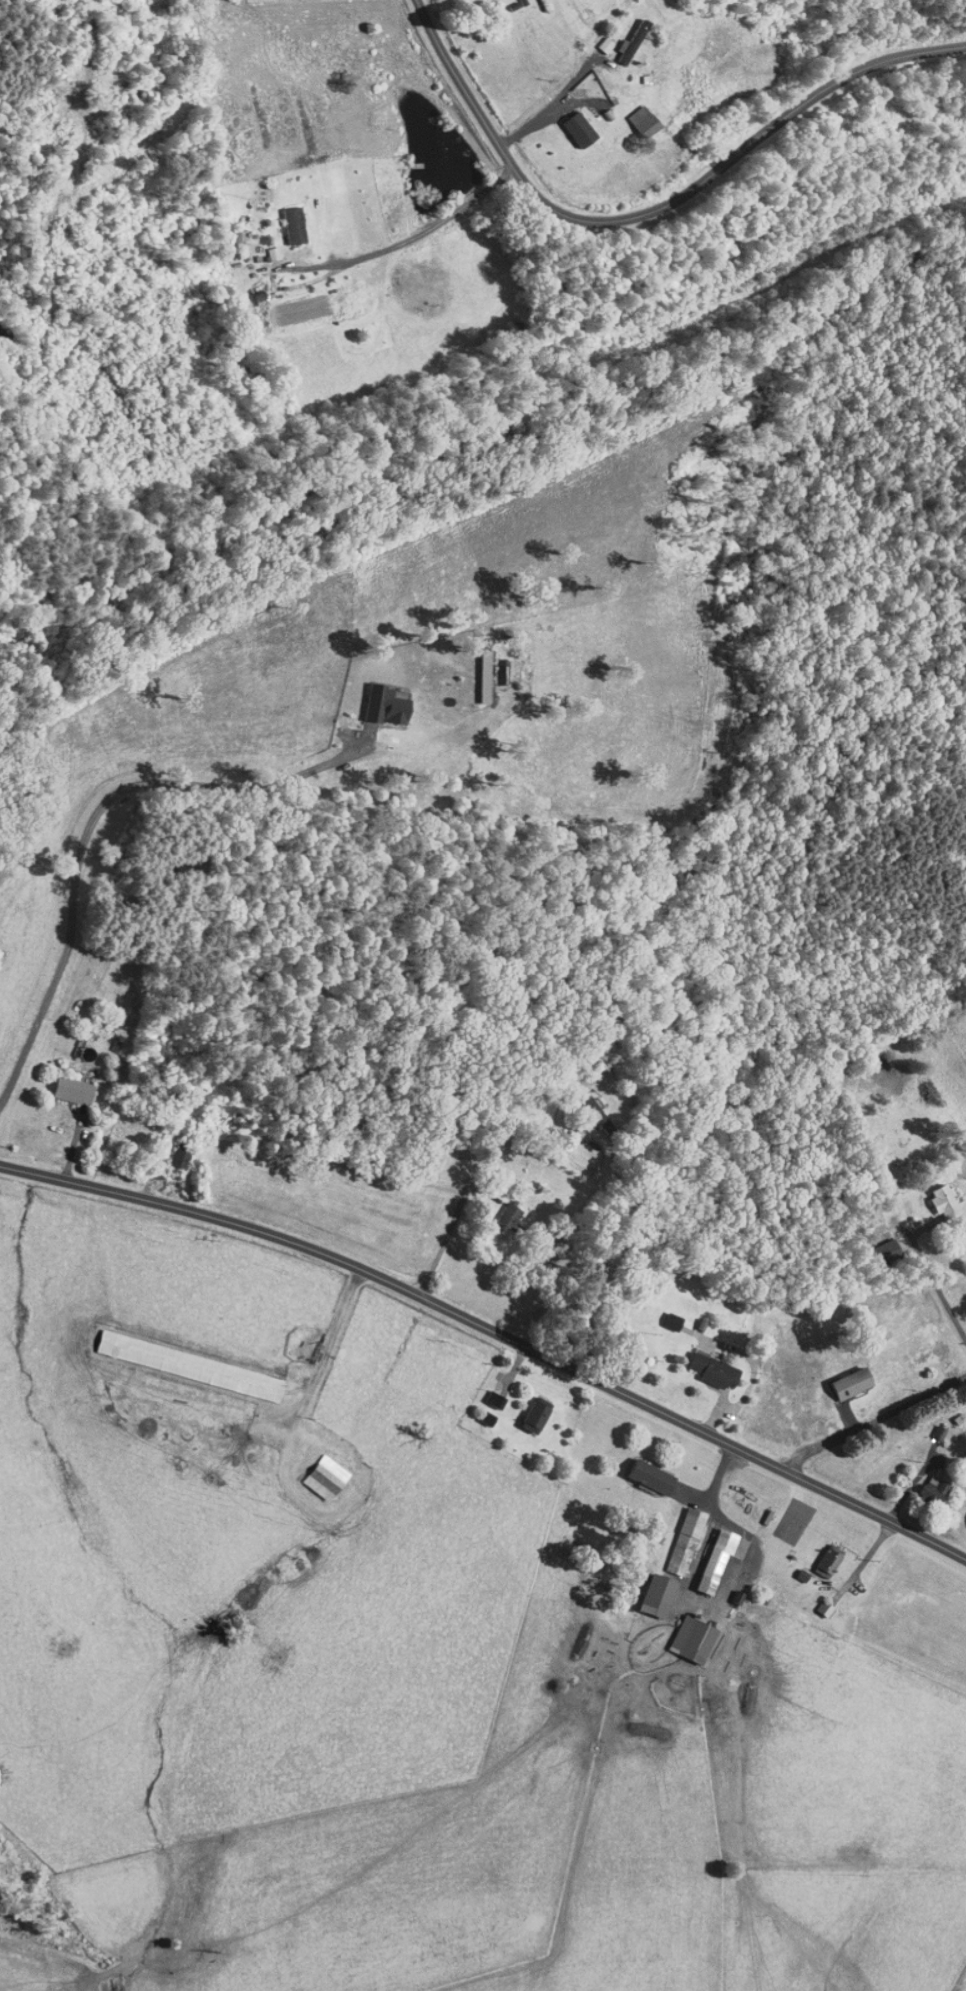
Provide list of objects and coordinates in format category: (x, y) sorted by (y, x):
building: (620, 36)
building: (595, 38)
building: (634, 115)
building: (570, 124)
road: (658, 211)
building: (283, 219)
building: (228, 231)
road: (407, 239)
building: (262, 247)
building: (250, 293)
building: (376, 698)
road: (89, 824)
building: (63, 1084)
building: (585, 1106)
building: (168, 1151)
road: (476, 1184)
building: (934, 1195)
building: (500, 1209)
building: (879, 1244)
road: (945, 1261)
building: (663, 1315)
road: (495, 1333)
building: (179, 1359)
building: (704, 1364)
building: (843, 1377)
building: (485, 1393)
building: (527, 1408)
road: (881, 1426)
building: (643, 1470)
building: (316, 1471)
building: (924, 1486)
building: (675, 1535)
building: (819, 1554)
building: (706, 1555)
building: (649, 1589)
building: (815, 1601)
building: (684, 1633)
road: (963, 1986)

